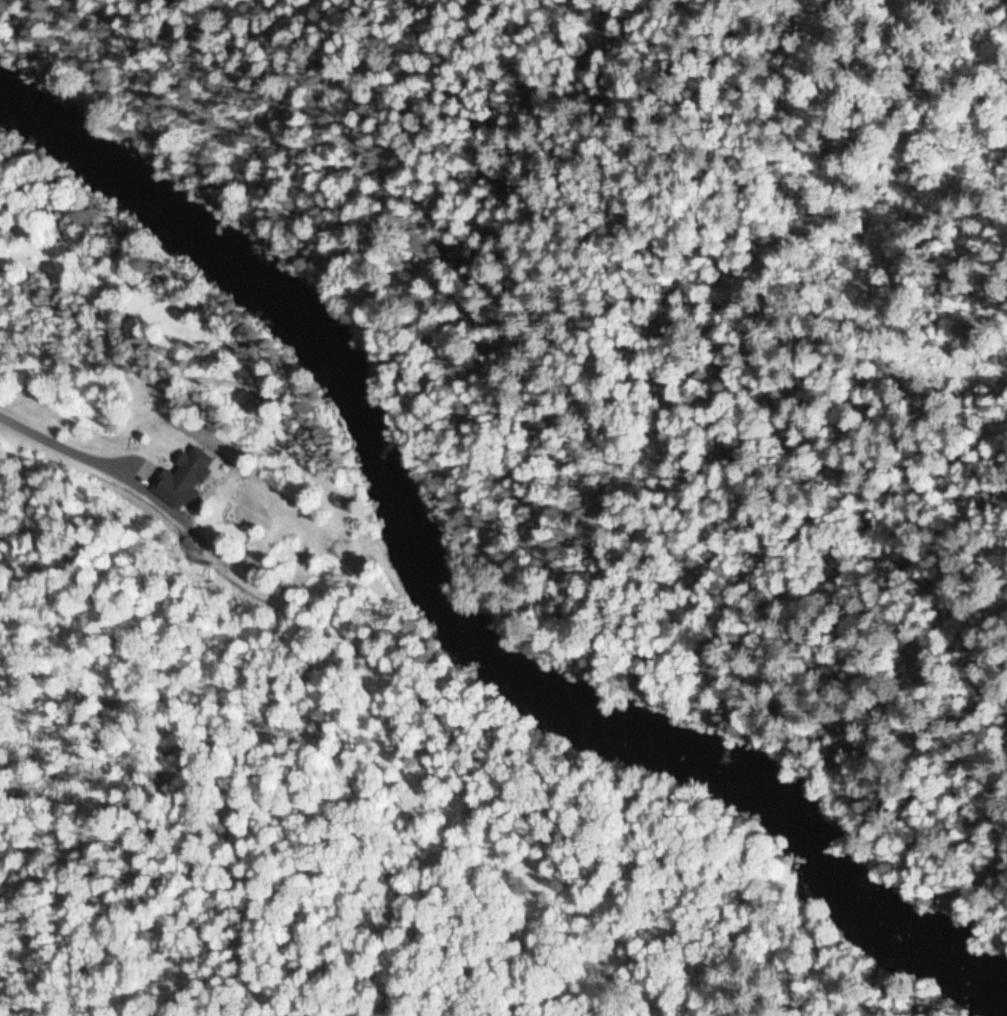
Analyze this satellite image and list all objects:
building: (187, 478)
river: (453, 623)

